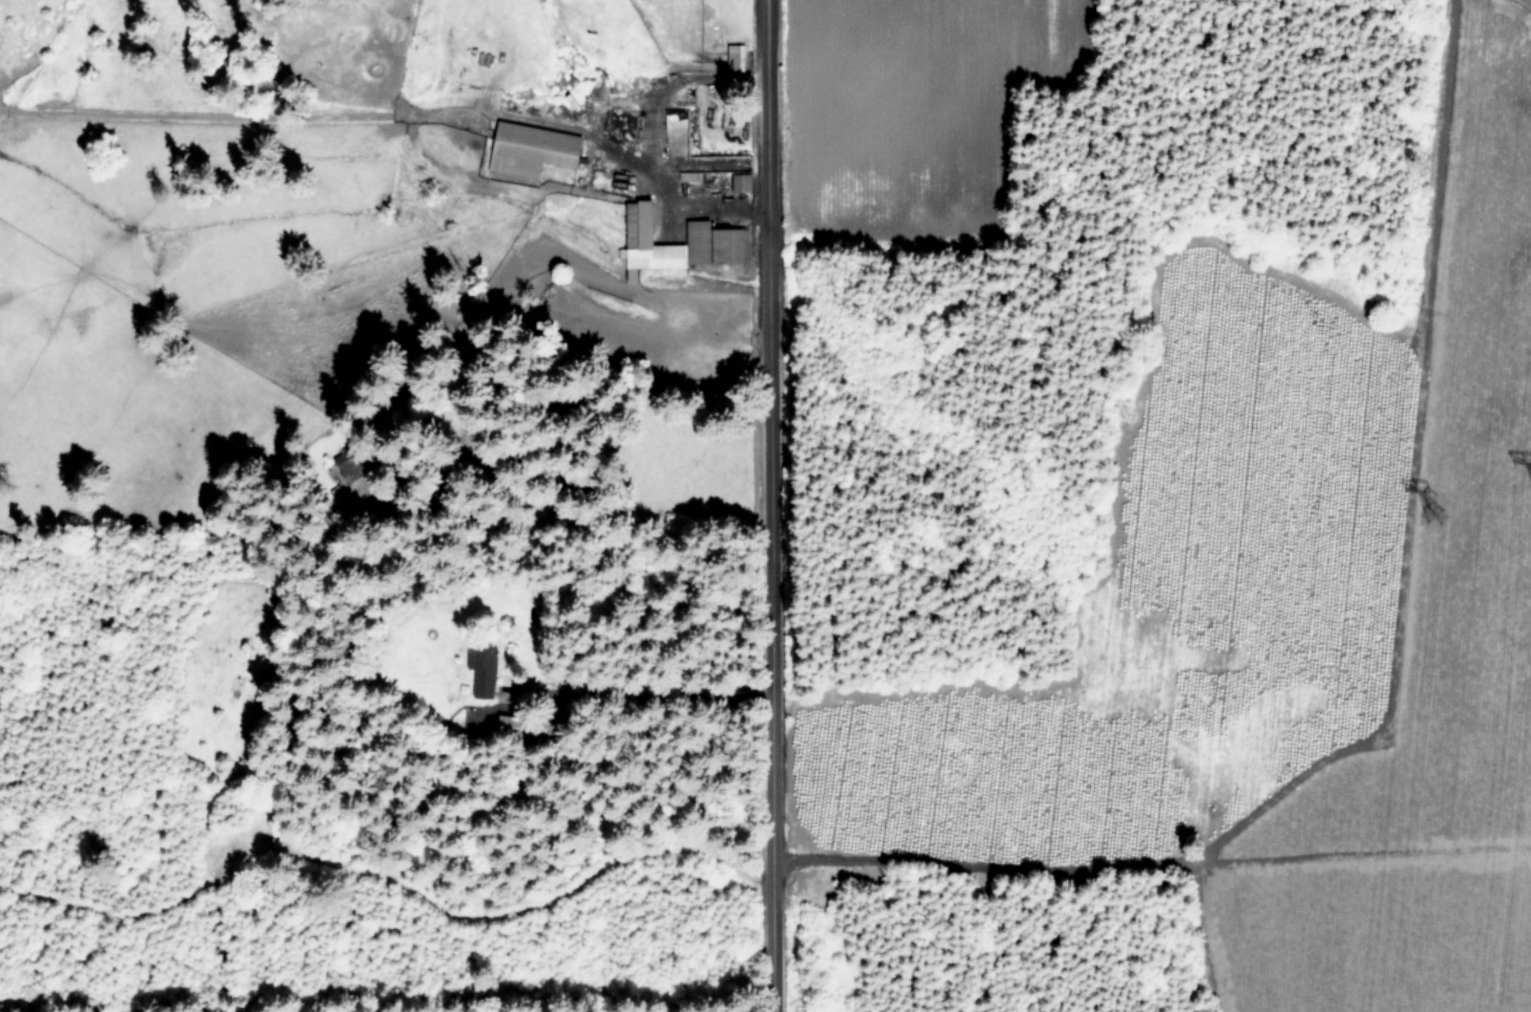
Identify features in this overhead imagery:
building: (736, 55)
building: (533, 147)
building: (743, 180)
building: (717, 234)
road: (765, 356)
road: (1078, 360)
power tower: (1432, 502)
building: (483, 668)
road: (801, 683)
road: (639, 700)

